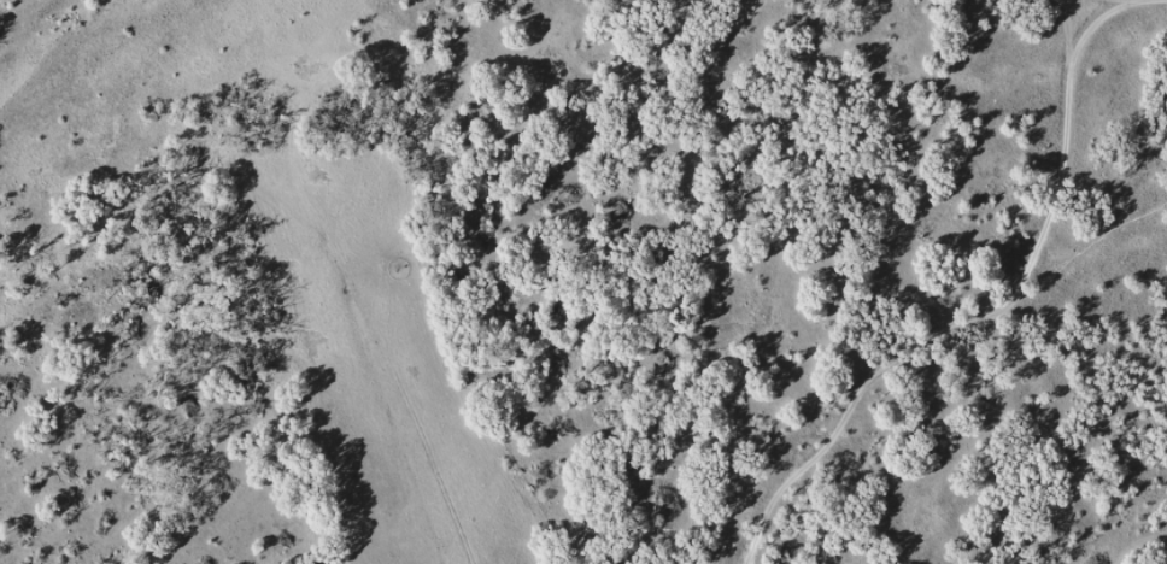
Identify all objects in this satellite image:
road: (983, 319)

